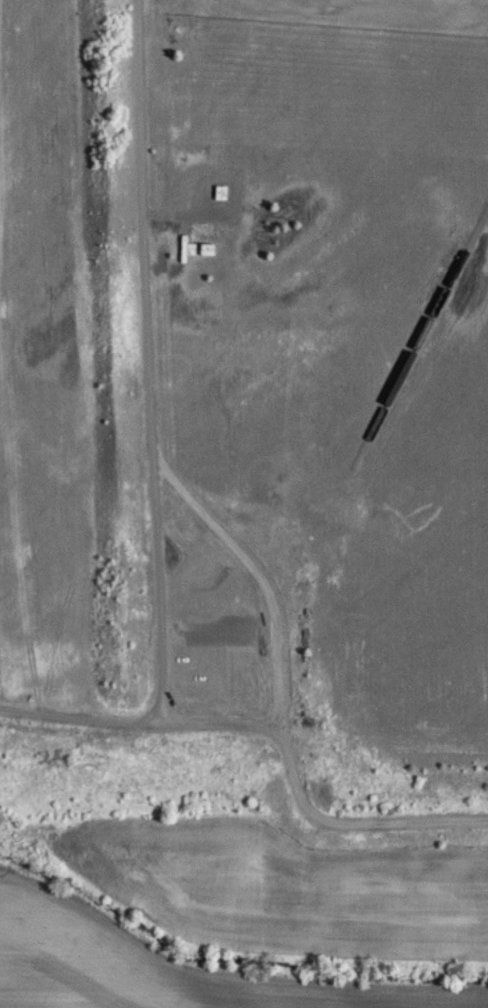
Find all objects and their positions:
building: (202, 260)
railway: (419, 335)
road: (194, 511)

